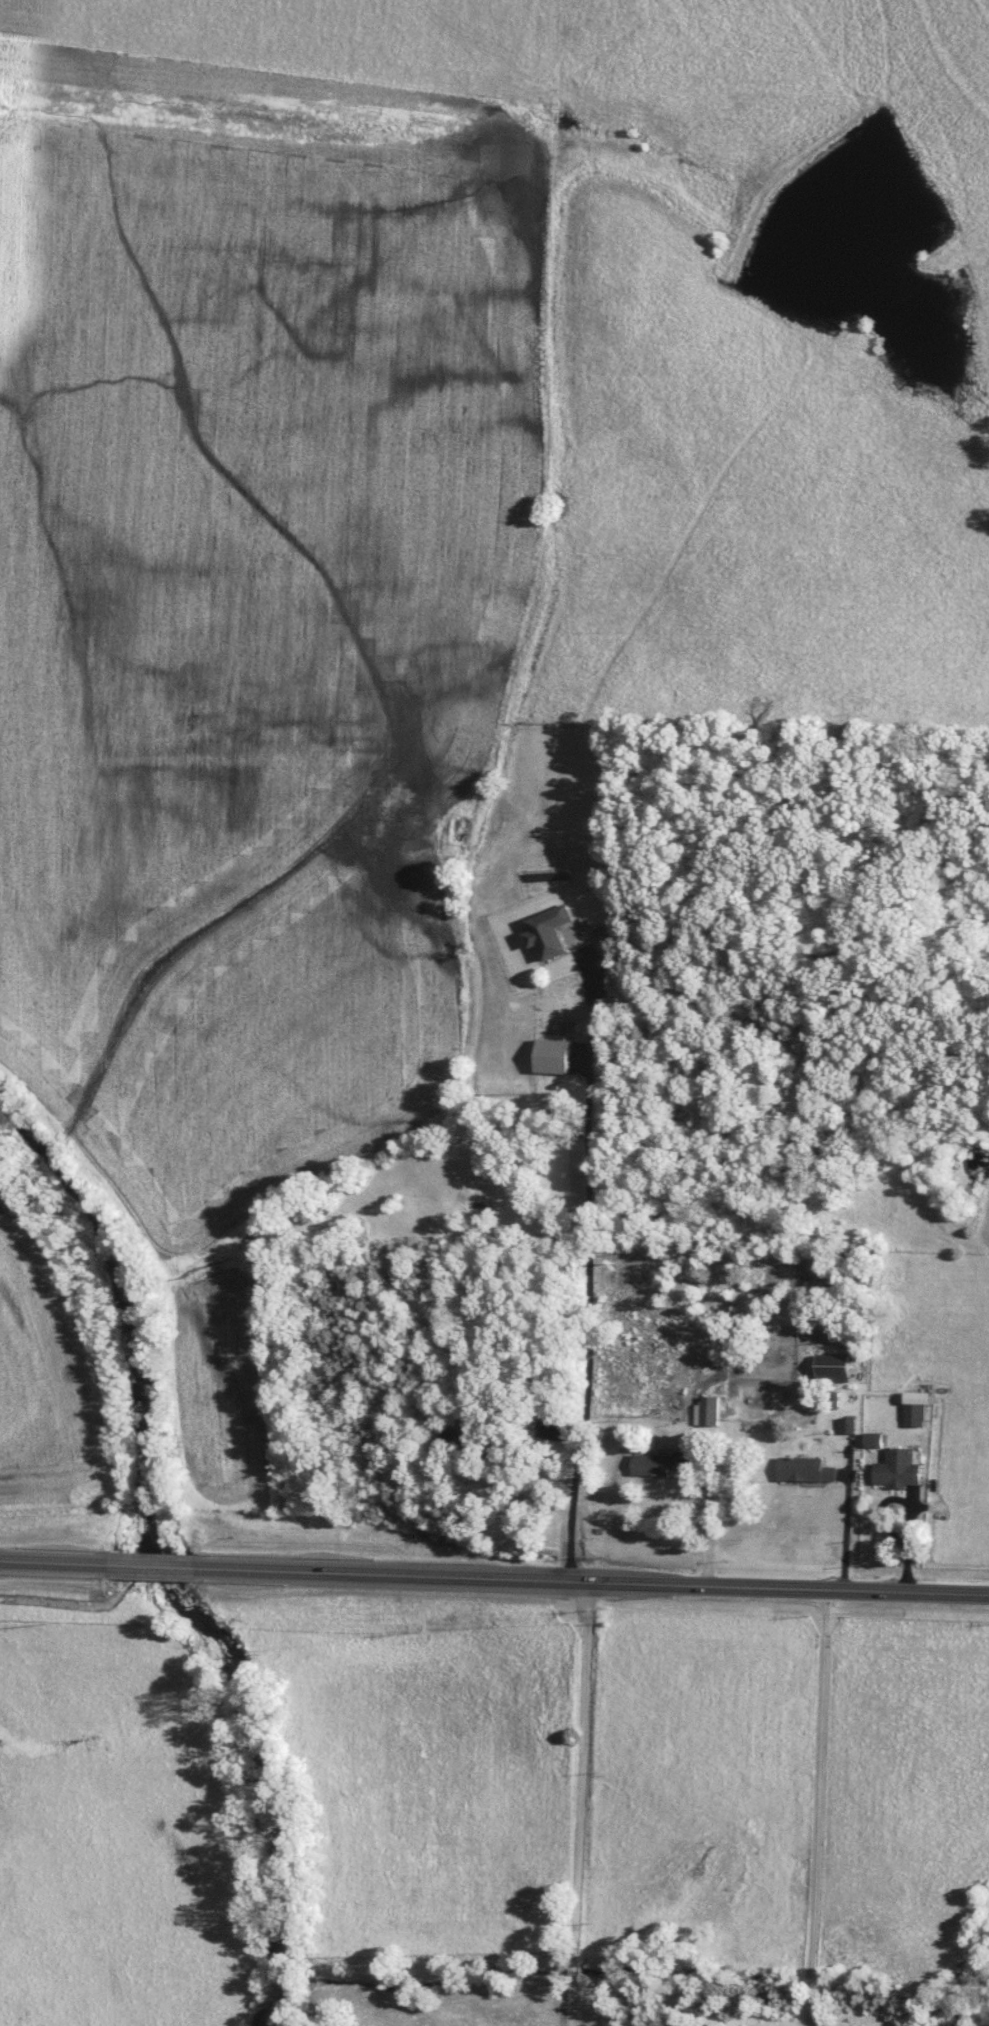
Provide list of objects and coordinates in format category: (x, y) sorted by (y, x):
building: (548, 931)
building: (554, 1055)
road: (587, 1314)
building: (710, 1410)
building: (915, 1415)
building: (848, 1425)
building: (557, 1429)
building: (461, 1439)
building: (873, 1440)
building: (662, 1464)
building: (900, 1468)
building: (806, 1469)
road: (911, 1504)
road: (844, 1533)
road: (46, 1558)
road: (146, 1563)
road: (595, 1580)
road: (566, 1803)
road: (800, 1806)

